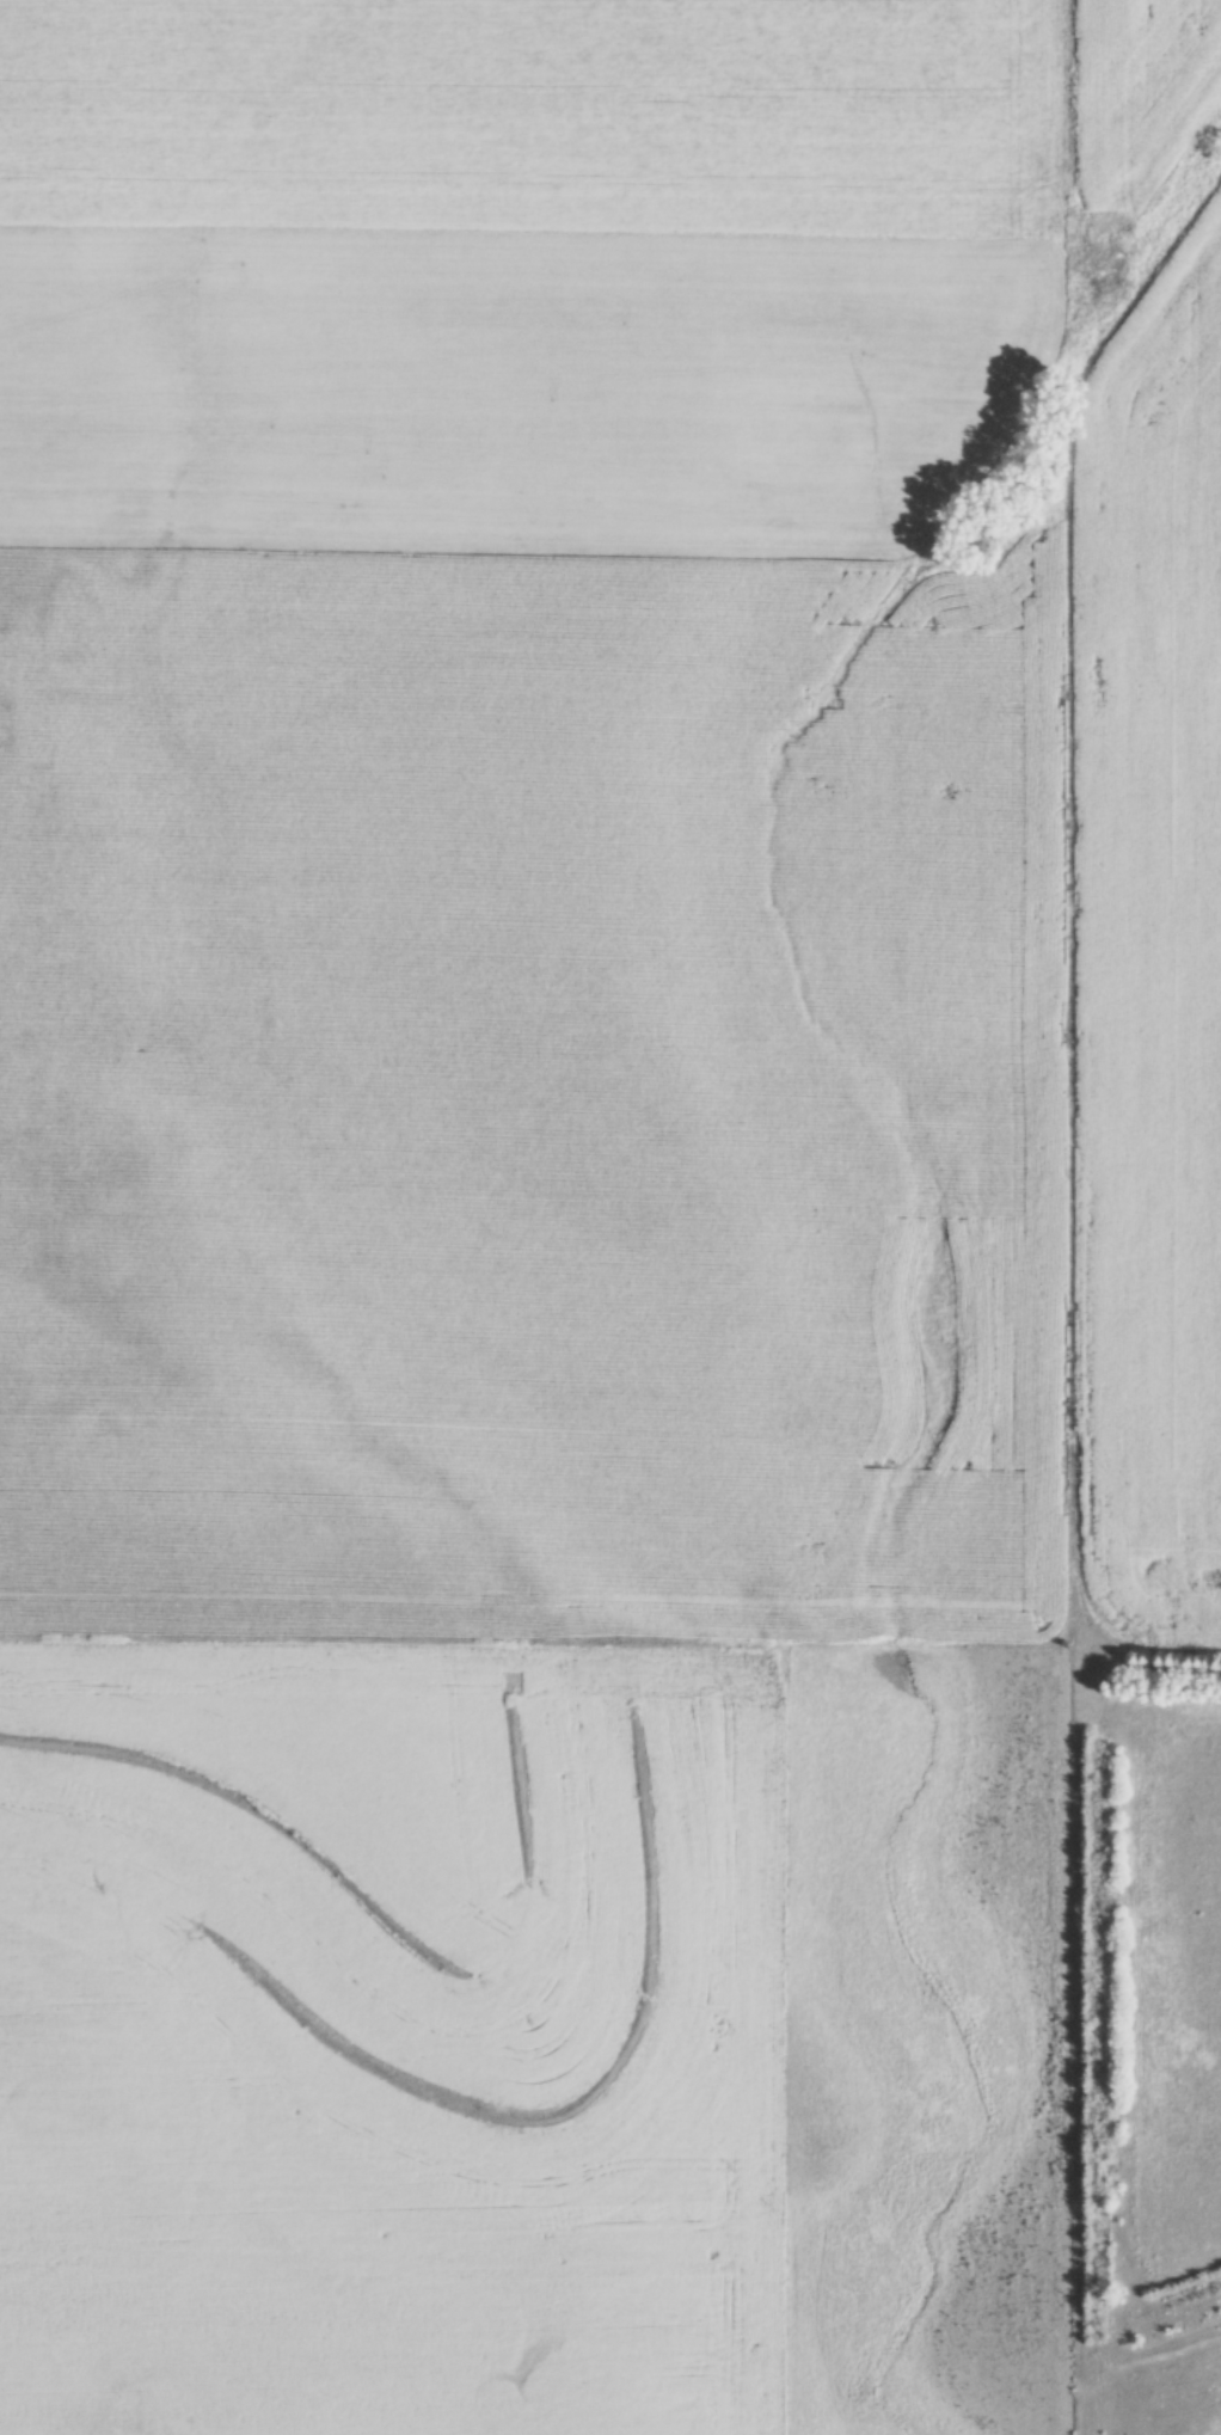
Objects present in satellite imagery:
crop: (529, 1094)

